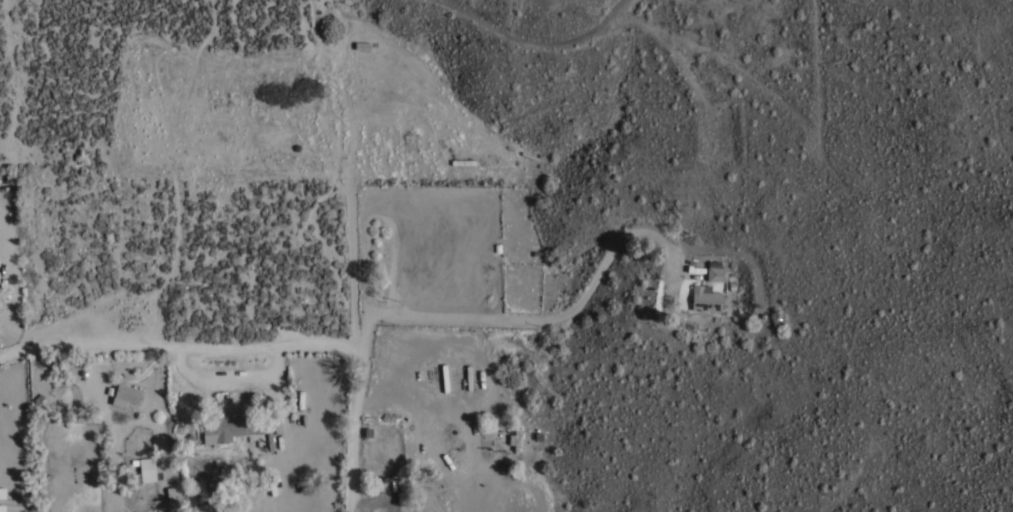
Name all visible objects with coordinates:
building: (716, 273)
road: (8, 283)
building: (705, 297)
road: (371, 327)
road: (230, 380)
building: (127, 392)
building: (302, 405)
road: (456, 413)
road: (355, 426)
building: (230, 427)
building: (516, 432)
building: (145, 470)
building: (171, 493)

